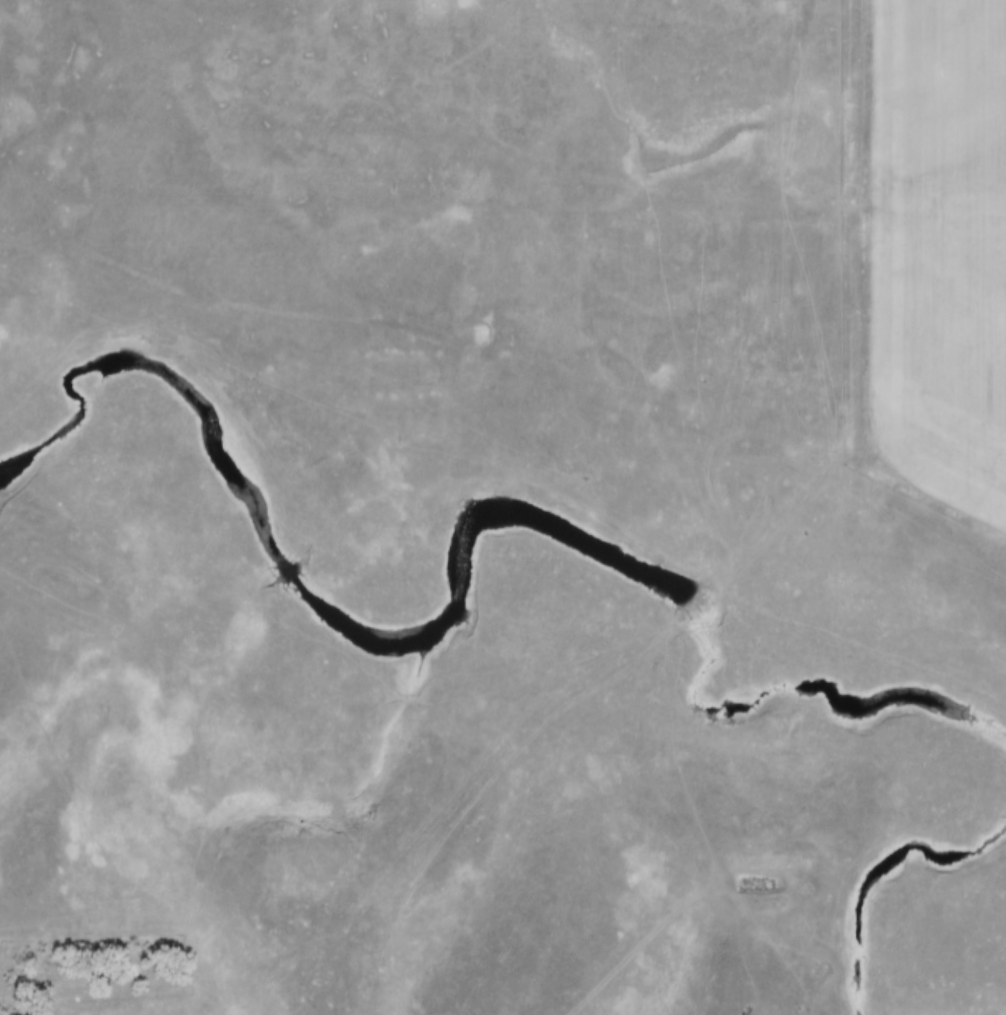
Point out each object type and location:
road: (736, 569)

